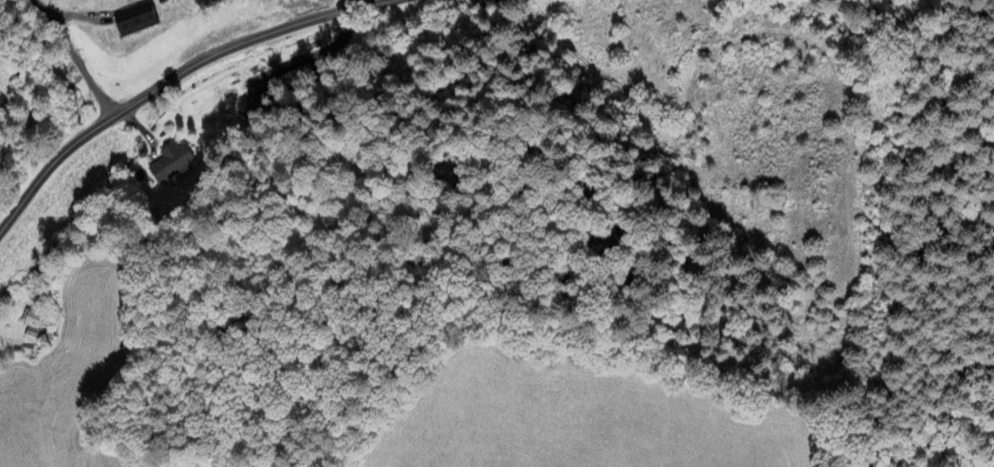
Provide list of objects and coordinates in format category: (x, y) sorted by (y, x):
building: (135, 20)
road: (172, 81)
building: (171, 163)
building: (34, 324)

